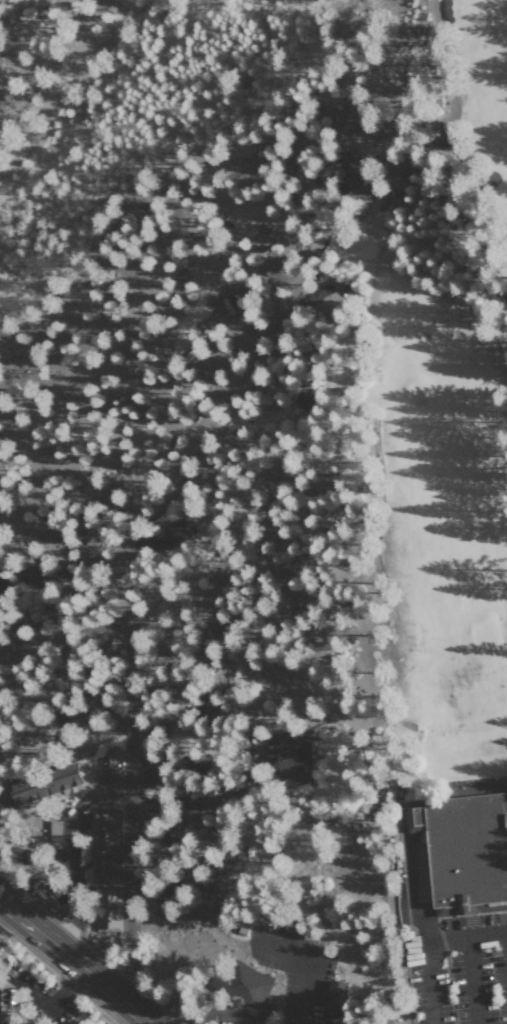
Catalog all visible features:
road: (441, 101)
building: (347, 162)
road: (504, 199)
park: (433, 389)
building: (301, 398)
building: (169, 533)
building: (33, 609)
road: (63, 637)
road: (123, 656)
building: (290, 757)
building: (104, 843)
building: (466, 850)
building: (107, 909)
road: (465, 935)
road: (506, 935)
building: (411, 953)
road: (75, 962)
road: (299, 965)
road: (427, 965)
parking lot: (460, 970)
road: (471, 979)
building: (244, 986)
building: (330, 1004)

